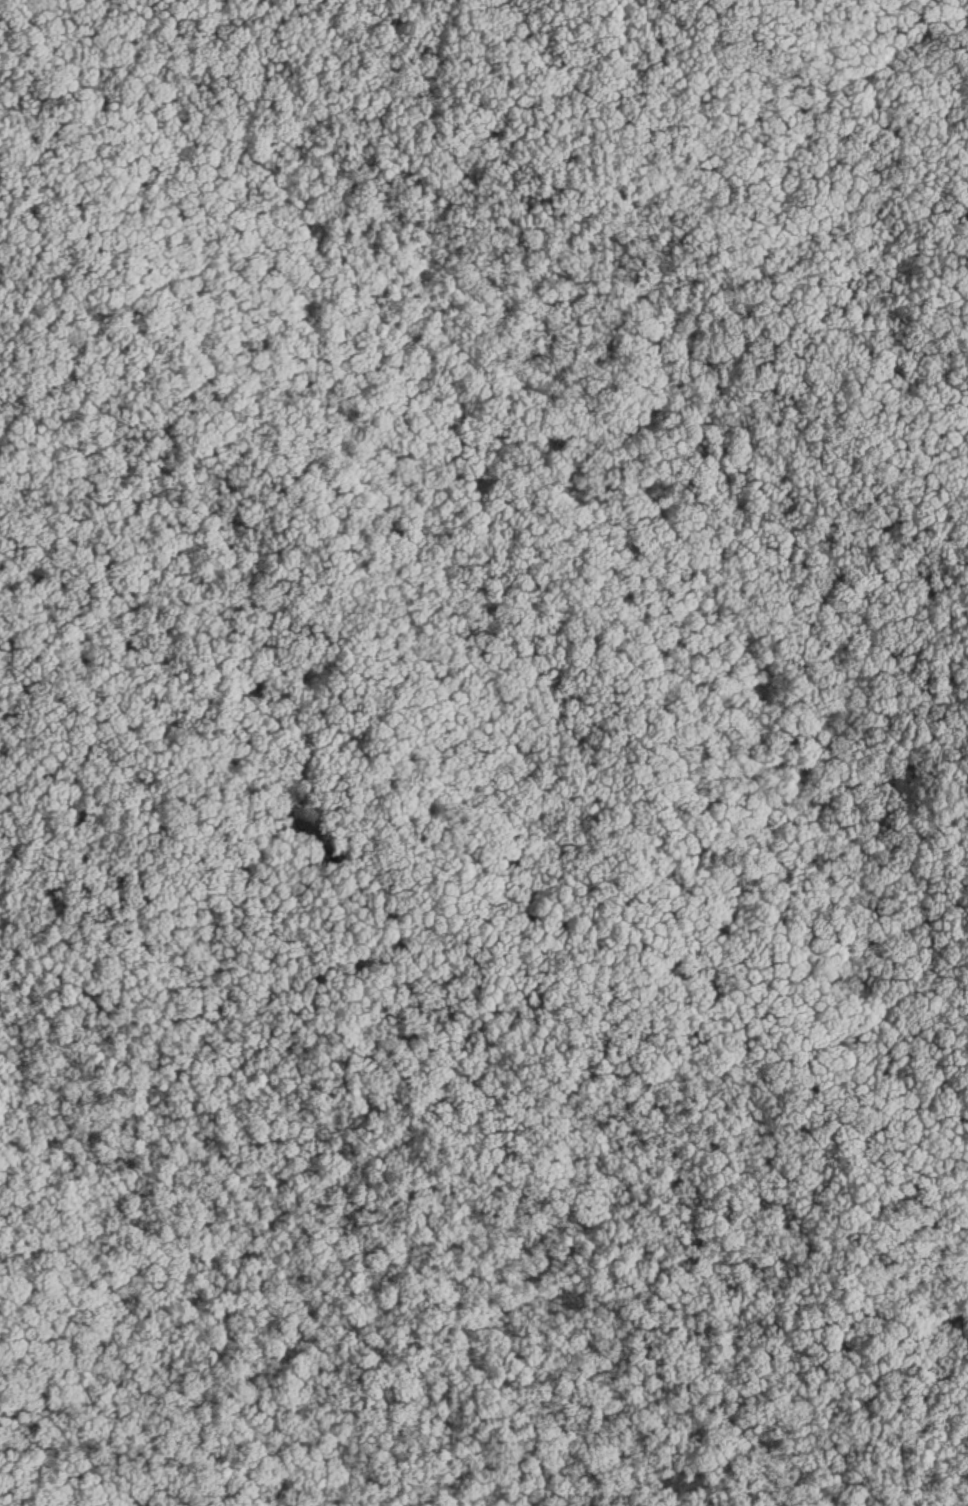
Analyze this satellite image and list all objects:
road: (691, 1244)
road: (207, 1426)

